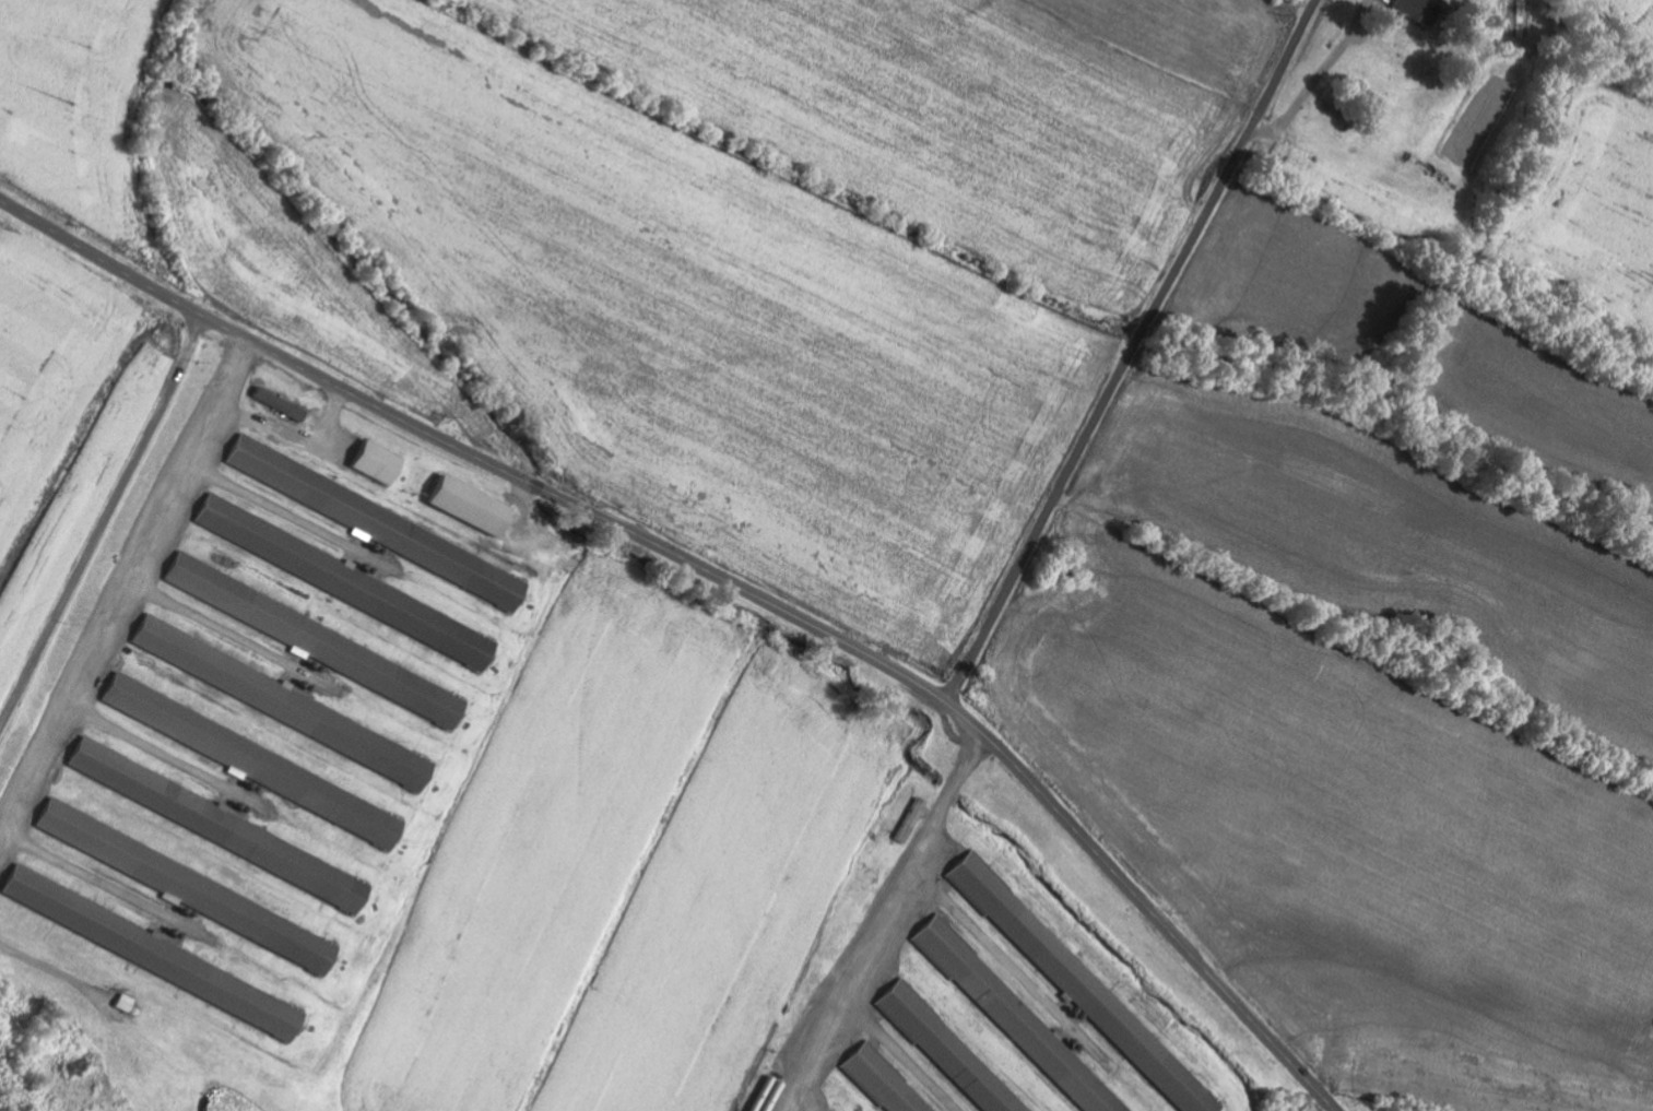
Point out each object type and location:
building: (1414, 11)
road: (1132, 352)
building: (280, 405)
building: (375, 463)
building: (463, 505)
road: (105, 527)
building: (336, 578)
road: (724, 579)
building: (272, 699)
building: (206, 820)
building: (910, 820)
building: (193, 891)
building: (141, 948)
building: (1079, 986)
building: (1013, 1017)
building: (946, 1050)
building: (882, 1080)

